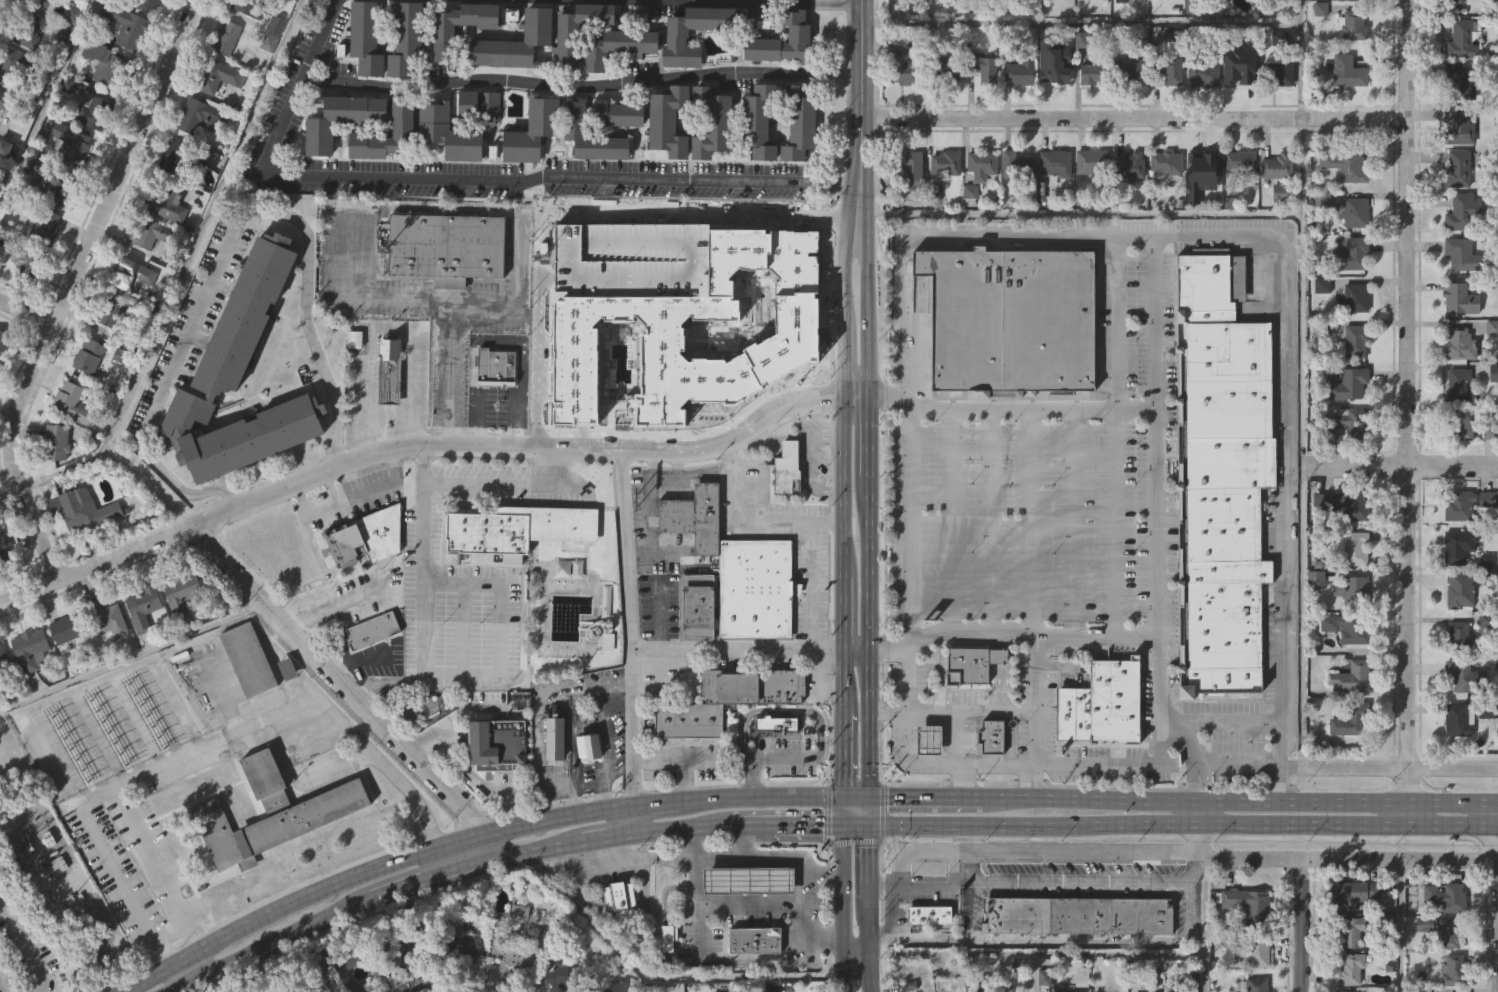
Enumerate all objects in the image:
building: (769, 1)
building: (802, 1)
building: (43, 2)
building: (1452, 2)
building: (151, 5)
building: (1118, 5)
building: (253, 7)
building: (268, 7)
building: (978, 11)
building: (941, 12)
building: (1089, 12)
building: (1492, 12)
building: (1163, 13)
building: (1201, 13)
building: (902, 14)
building: (1015, 14)
building: (1053, 15)
building: (1236, 15)
building: (1273, 16)
building: (293, 18)
road: (1081, 20)
building: (128, 25)
building: (1350, 25)
building: (580, 28)
building: (29, 29)
building: (403, 29)
building: (800, 32)
building: (275, 33)
building: (229, 37)
building: (678, 39)
building: (1461, 39)
building: (515, 40)
building: (447, 43)
building: (618, 45)
building: (246, 48)
building: (1317, 50)
building: (71, 57)
building: (17, 65)
building: (112, 66)
building: (273, 66)
building: (1057, 67)
building: (943, 68)
building: (981, 69)
building: (1166, 69)
building: (1239, 69)
building: (1127, 71)
building: (1276, 71)
building: (64, 72)
building: (1346, 72)
building: (1017, 73)
building: (1201, 73)
building: (901, 74)
building: (1092, 74)
building: (220, 75)
building: (565, 76)
building: (675, 79)
building: (363, 80)
building: (404, 80)
building: (1079, 81)
building: (1458, 81)
building: (781, 82)
building: (266, 84)
building: (514, 84)
road: (580, 84)
building: (442, 85)
building: (896, 86)
building: (616, 88)
road: (862, 90)
building: (10, 102)
building: (1052, 103)
building: (1236, 106)
road: (48, 108)
building: (944, 108)
building: (93, 110)
building: (982, 110)
building: (1129, 110)
building: (619, 111)
building: (1168, 111)
building: (1199, 113)
building: (1345, 113)
building: (402, 114)
building: (900, 114)
building: (1017, 114)
building: (1277, 114)
building: (204, 115)
building: (1090, 115)
building: (339, 117)
building: (575, 117)
road: (1134, 118)
building: (669, 120)
building: (760, 120)
building: (712, 121)
building: (799, 121)
building: (434, 125)
building: (1456, 127)
building: (534, 129)
building: (73, 142)
building: (5, 148)
building: (91, 153)
building: (179, 155)
building: (616, 155)
building: (400, 157)
building: (198, 159)
building: (338, 161)
building: (797, 161)
building: (1089, 161)
building: (666, 162)
building: (756, 162)
building: (944, 162)
building: (1014, 162)
building: (1053, 162)
building: (1238, 162)
building: (1164, 163)
building: (709, 164)
building: (979, 164)
building: (1344, 164)
building: (1276, 166)
building: (1127, 167)
building: (907, 168)
building: (1202, 168)
building: (1457, 169)
building: (530, 172)
building: (446, 174)
building: (589, 177)
road: (450, 178)
road: (834, 180)
building: (56, 182)
building: (2, 189)
building: (1237, 202)
building: (942, 203)
building: (1088, 203)
building: (1053, 204)
building: (1165, 204)
building: (168, 205)
building: (1014, 205)
building: (979, 206)
building: (1127, 206)
building: (1275, 208)
building: (1202, 209)
road: (576, 210)
building: (910, 210)
building: (1461, 212)
building: (1354, 213)
road: (1081, 214)
road: (846, 224)
building: (45, 228)
building: (967, 232)
building: (156, 234)
building: (1277, 234)
building: (1319, 241)
road: (226, 242)
building: (164, 246)
building: (445, 247)
building: (1349, 255)
building: (1461, 255)
road: (344, 259)
building: (29, 264)
building: (133, 274)
road: (366, 276)
road: (70, 286)
building: (445, 289)
road: (345, 298)
road: (847, 298)
building: (1354, 298)
building: (1459, 298)
building: (20, 299)
road: (451, 300)
road: (26, 310)
building: (113, 311)
building: (1006, 321)
road: (1118, 321)
building: (1344, 335)
building: (4, 340)
road: (495, 340)
building: (1460, 343)
building: (110, 353)
building: (91, 354)
road: (846, 360)
building: (496, 367)
building: (1490, 368)
road: (901, 369)
building: (389, 371)
building: (242, 379)
building: (352, 380)
building: (3, 382)
road: (1302, 383)
building: (1347, 384)
building: (1460, 384)
road: (856, 392)
building: (119, 397)
building: (76, 404)
building: (494, 409)
road: (1096, 409)
road: (1407, 411)
building: (387, 412)
building: (1492, 413)
building: (241, 418)
building: (1345, 423)
building: (1456, 425)
building: (59, 443)
road: (517, 449)
road: (1400, 464)
building: (1457, 466)
building: (1341, 470)
building: (1489, 475)
building: (1217, 478)
building: (55, 484)
road: (498, 484)
road: (845, 488)
road: (866, 489)
road: (1285, 500)
building: (1466, 503)
building: (1344, 504)
building: (86, 510)
building: (784, 510)
building: (690, 517)
road: (754, 517)
road: (647, 519)
road: (950, 519)
road: (992, 519)
road: (1034, 520)
road: (1080, 520)
road: (1118, 521)
road: (1155, 522)
building: (518, 528)
building: (369, 536)
building: (1486, 542)
building: (1457, 545)
building: (1353, 547)
building: (4, 548)
road: (625, 551)
road: (637, 551)
building: (80, 552)
road: (94, 565)
building: (516, 571)
building: (1314, 572)
building: (364, 579)
road: (806, 584)
building: (4, 586)
building: (752, 588)
building: (1459, 590)
building: (187, 591)
building: (1353, 592)
building: (1483, 602)
building: (146, 606)
building: (692, 606)
road: (657, 612)
road: (843, 618)
building: (110, 619)
building: (1312, 620)
building: (71, 627)
building: (1345, 627)
building: (374, 629)
road: (1099, 632)
building: (179, 637)
building: (1457, 637)
building: (607, 638)
building: (32, 648)
road: (658, 648)
building: (141, 649)
building: (694, 649)
road: (855, 651)
building: (3, 653)
road: (129, 655)
building: (247, 659)
building: (107, 662)
building: (1482, 662)
building: (968, 664)
building: (63, 671)
building: (370, 672)
road: (430, 673)
building: (1349, 676)
building: (1464, 676)
road: (842, 681)
building: (605, 682)
building: (28, 691)
road: (348, 693)
building: (2, 700)
building: (246, 701)
building: (721, 701)
building: (1098, 704)
building: (428, 705)
building: (969, 705)
building: (285, 710)
road: (968, 710)
road: (886, 715)
road: (1031, 716)
building: (1458, 719)
building: (1349, 720)
road: (1227, 723)
road: (536, 725)
building: (728, 728)
building: (990, 736)
gas station: (990, 736)
road: (219, 738)
building: (556, 739)
building: (930, 741)
gas station: (930, 741)
building: (496, 745)
building: (585, 745)
building: (1099, 746)
road: (606, 747)
building: (766, 749)
gas station: (766, 749)
road: (841, 755)
building: (1348, 761)
building: (1456, 761)
building: (685, 762)
building: (772, 765)
road: (1154, 765)
road: (1388, 767)
road: (466, 770)
traffic signals: (841, 772)
building: (990, 778)
building: (552, 779)
building: (927, 781)
road: (957, 782)
road: (1277, 785)
building: (586, 787)
building: (481, 789)
road: (758, 797)
road: (854, 799)
traffic signals: (886, 800)
road: (918, 800)
road: (650, 803)
road: (1233, 803)
road: (841, 811)
road: (868, 811)
building: (274, 812)
road: (624, 819)
road: (1182, 821)
road: (779, 823)
traffic signals: (823, 823)
road: (854, 823)
road: (670, 827)
road: (1194, 830)
road: (602, 837)
traffic signals: (867, 844)
building: (290, 845)
road: (543, 849)
road: (1497, 852)
road: (683, 858)
road: (1214, 858)
road: (867, 860)
road: (895, 863)
road: (365, 870)
road: (633, 871)
road: (823, 873)
building: (216, 875)
road: (437, 877)
road: (1029, 878)
building: (750, 879)
gas station: (750, 879)
building: (1352, 894)
building: (613, 895)
road: (968, 897)
building: (1452, 898)
road: (133, 901)
road: (750, 904)
building: (1246, 904)
road: (841, 907)
building: (926, 914)
building: (1075, 915)
building: (745, 922)
road: (1399, 925)
road: (1302, 926)
building: (1349, 933)
building: (1450, 934)
building: (616, 937)
building: (668, 937)
road: (824, 937)
gas station: (755, 939)
building: (513, 940)
road: (1072, 941)
road: (277, 942)
road: (853, 942)
building: (451, 943)
road: (866, 945)
building: (1250, 953)
building: (927, 955)
building: (1074, 956)
road: (781, 960)
building: (403, 962)
building: (1423, 964)
building: (343, 965)
road: (13, 968)
building: (1352, 968)
building: (1454, 971)
building: (561, 974)
road: (658, 977)
building: (666, 977)
building: (1192, 978)
building: (981, 983)
building: (458, 984)
building: (1253, 985)
building: (404, 986)
building: (769, 987)
building: (617, 988)
building: (717, 988)
building: (1169, 988)
building: (503, 989)
building: (736, 989)
building: (322, 990)
building: (1341, 991)

